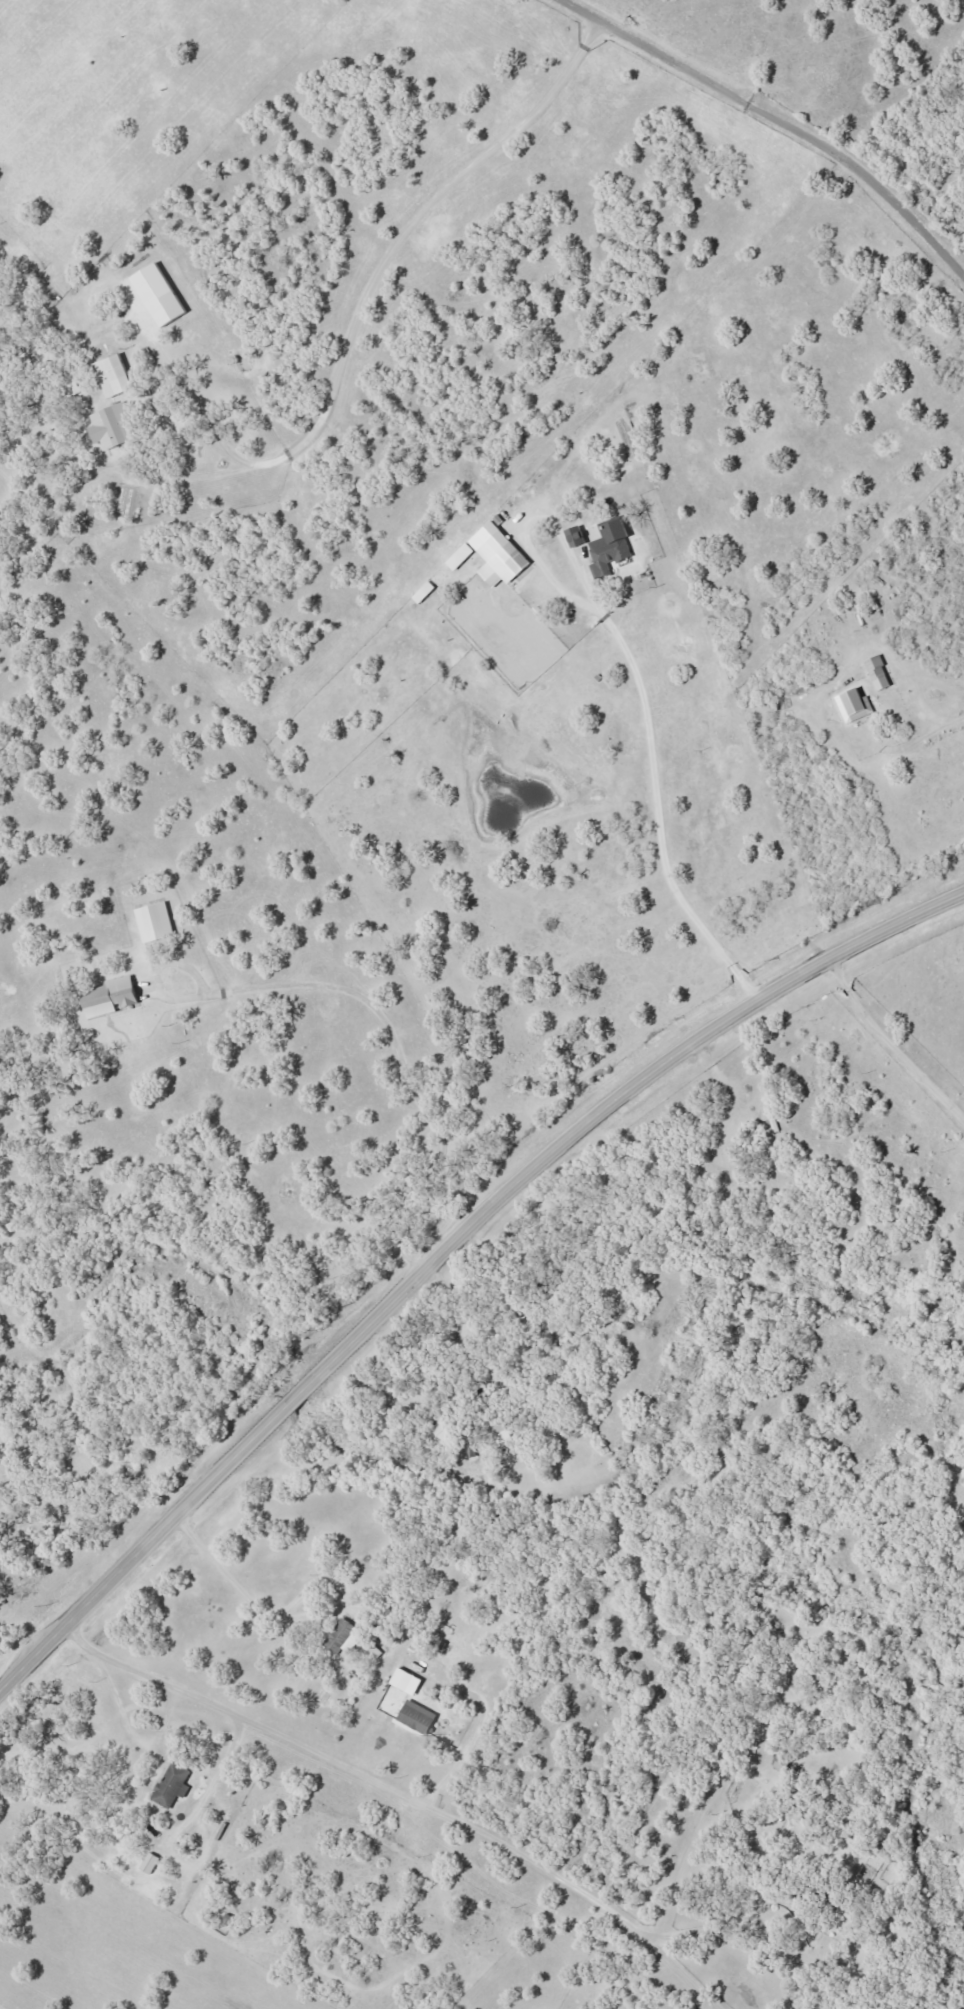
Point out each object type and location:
road: (781, 117)
building: (115, 375)
building: (71, 382)
building: (160, 410)
building: (612, 553)
building: (502, 554)
building: (858, 703)
building: (156, 922)
building: (113, 996)
road: (892, 1038)
road: (451, 1247)
building: (499, 1429)
building: (437, 1433)
building: (341, 1635)
building: (417, 1718)
building: (782, 1763)
building: (173, 1785)
road: (407, 1789)
building: (151, 1862)

